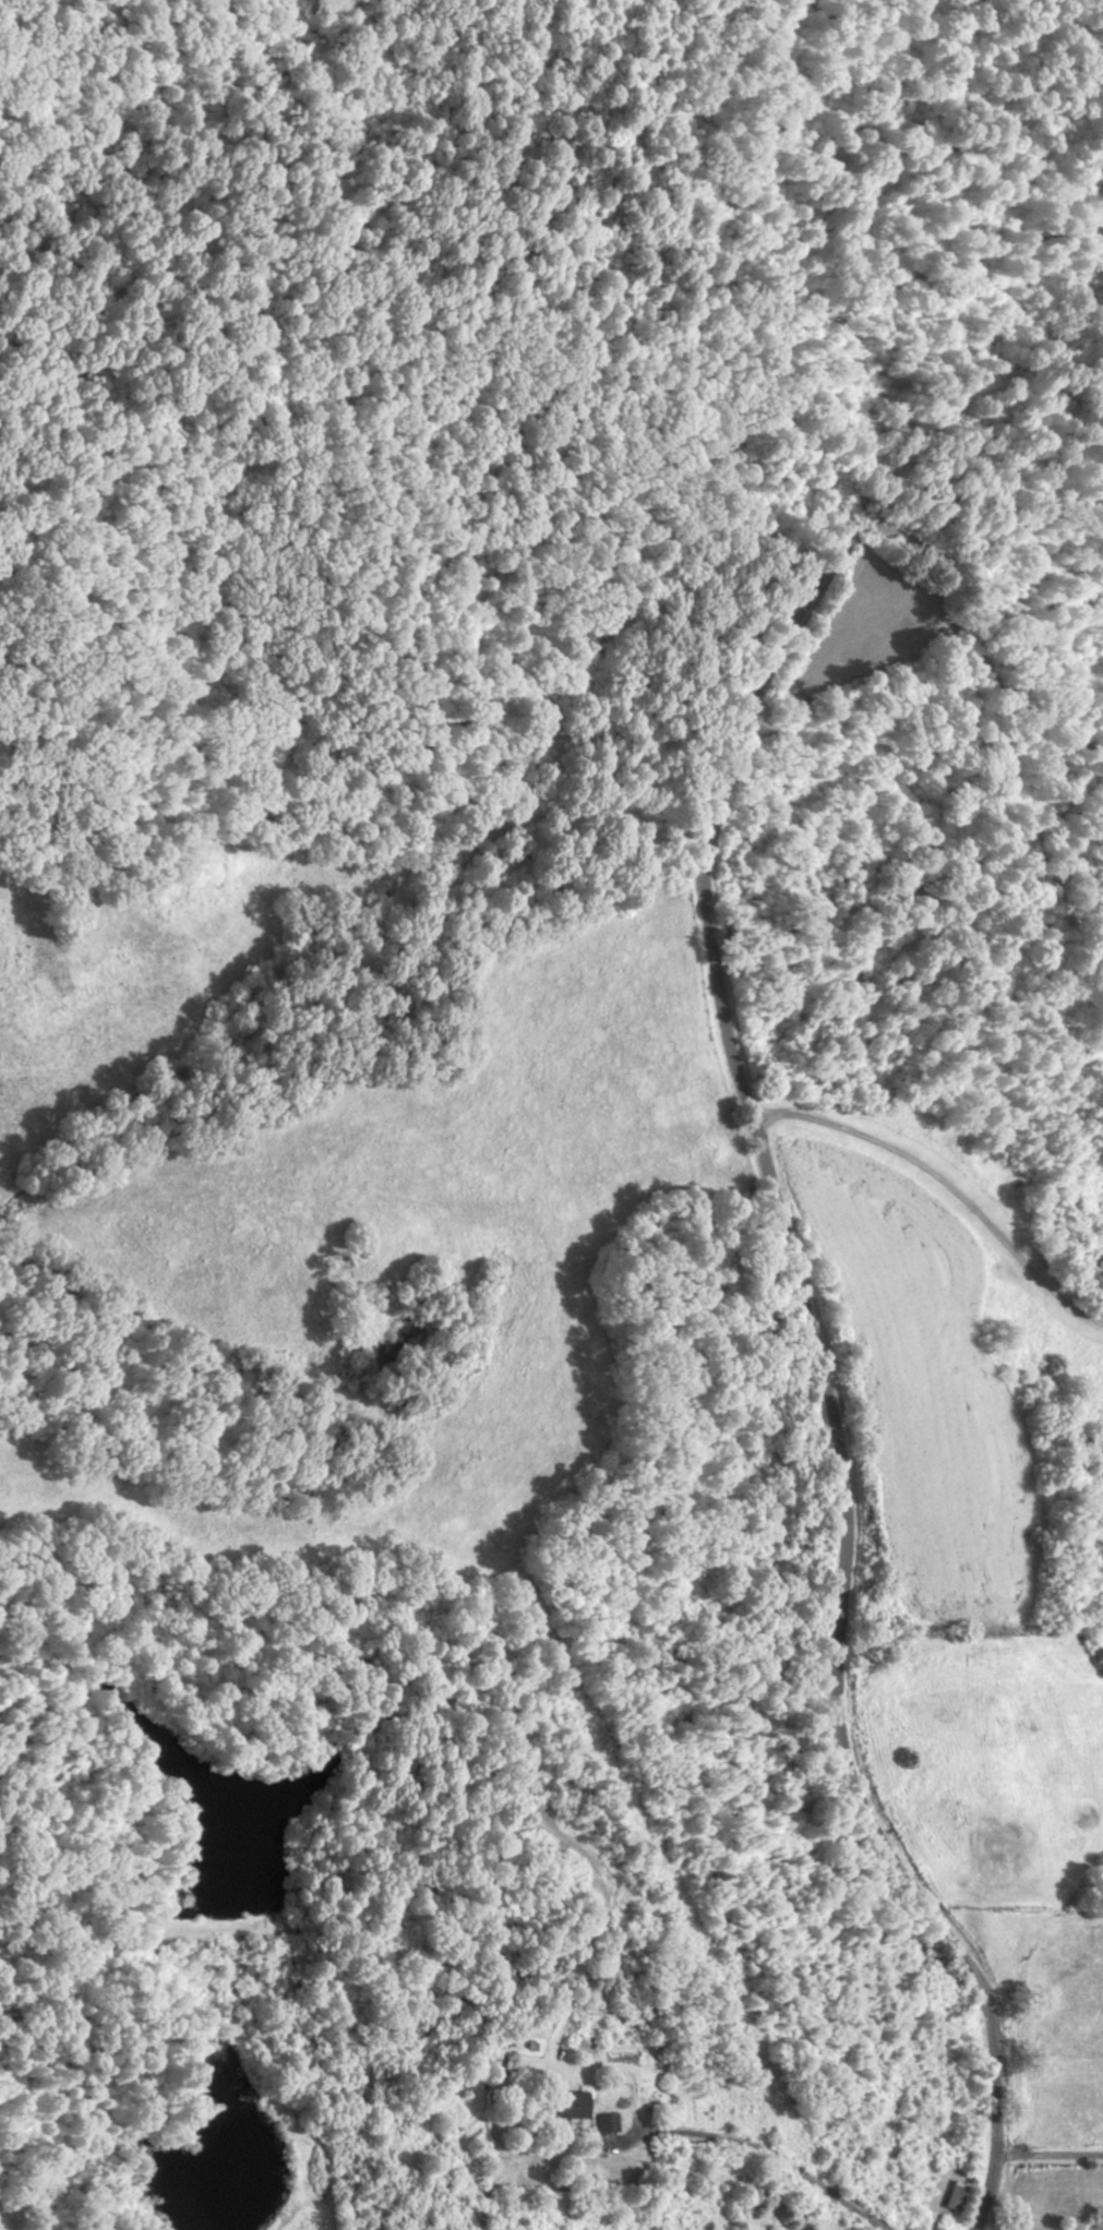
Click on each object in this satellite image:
park: (394, 341)
road: (746, 1132)
road: (937, 1184)
building: (1046, 2073)
building: (575, 2105)
building: (604, 2122)
road: (1045, 2153)
road: (772, 2156)
building: (951, 2196)

